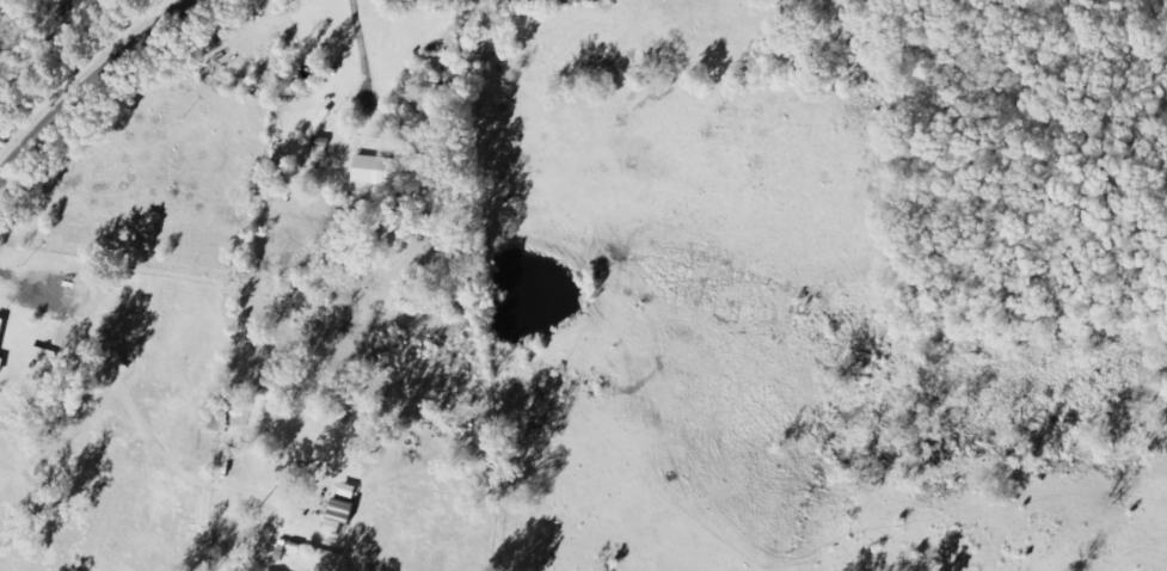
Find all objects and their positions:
building: (589, 1)
road: (88, 85)
building: (375, 171)
building: (217, 419)

